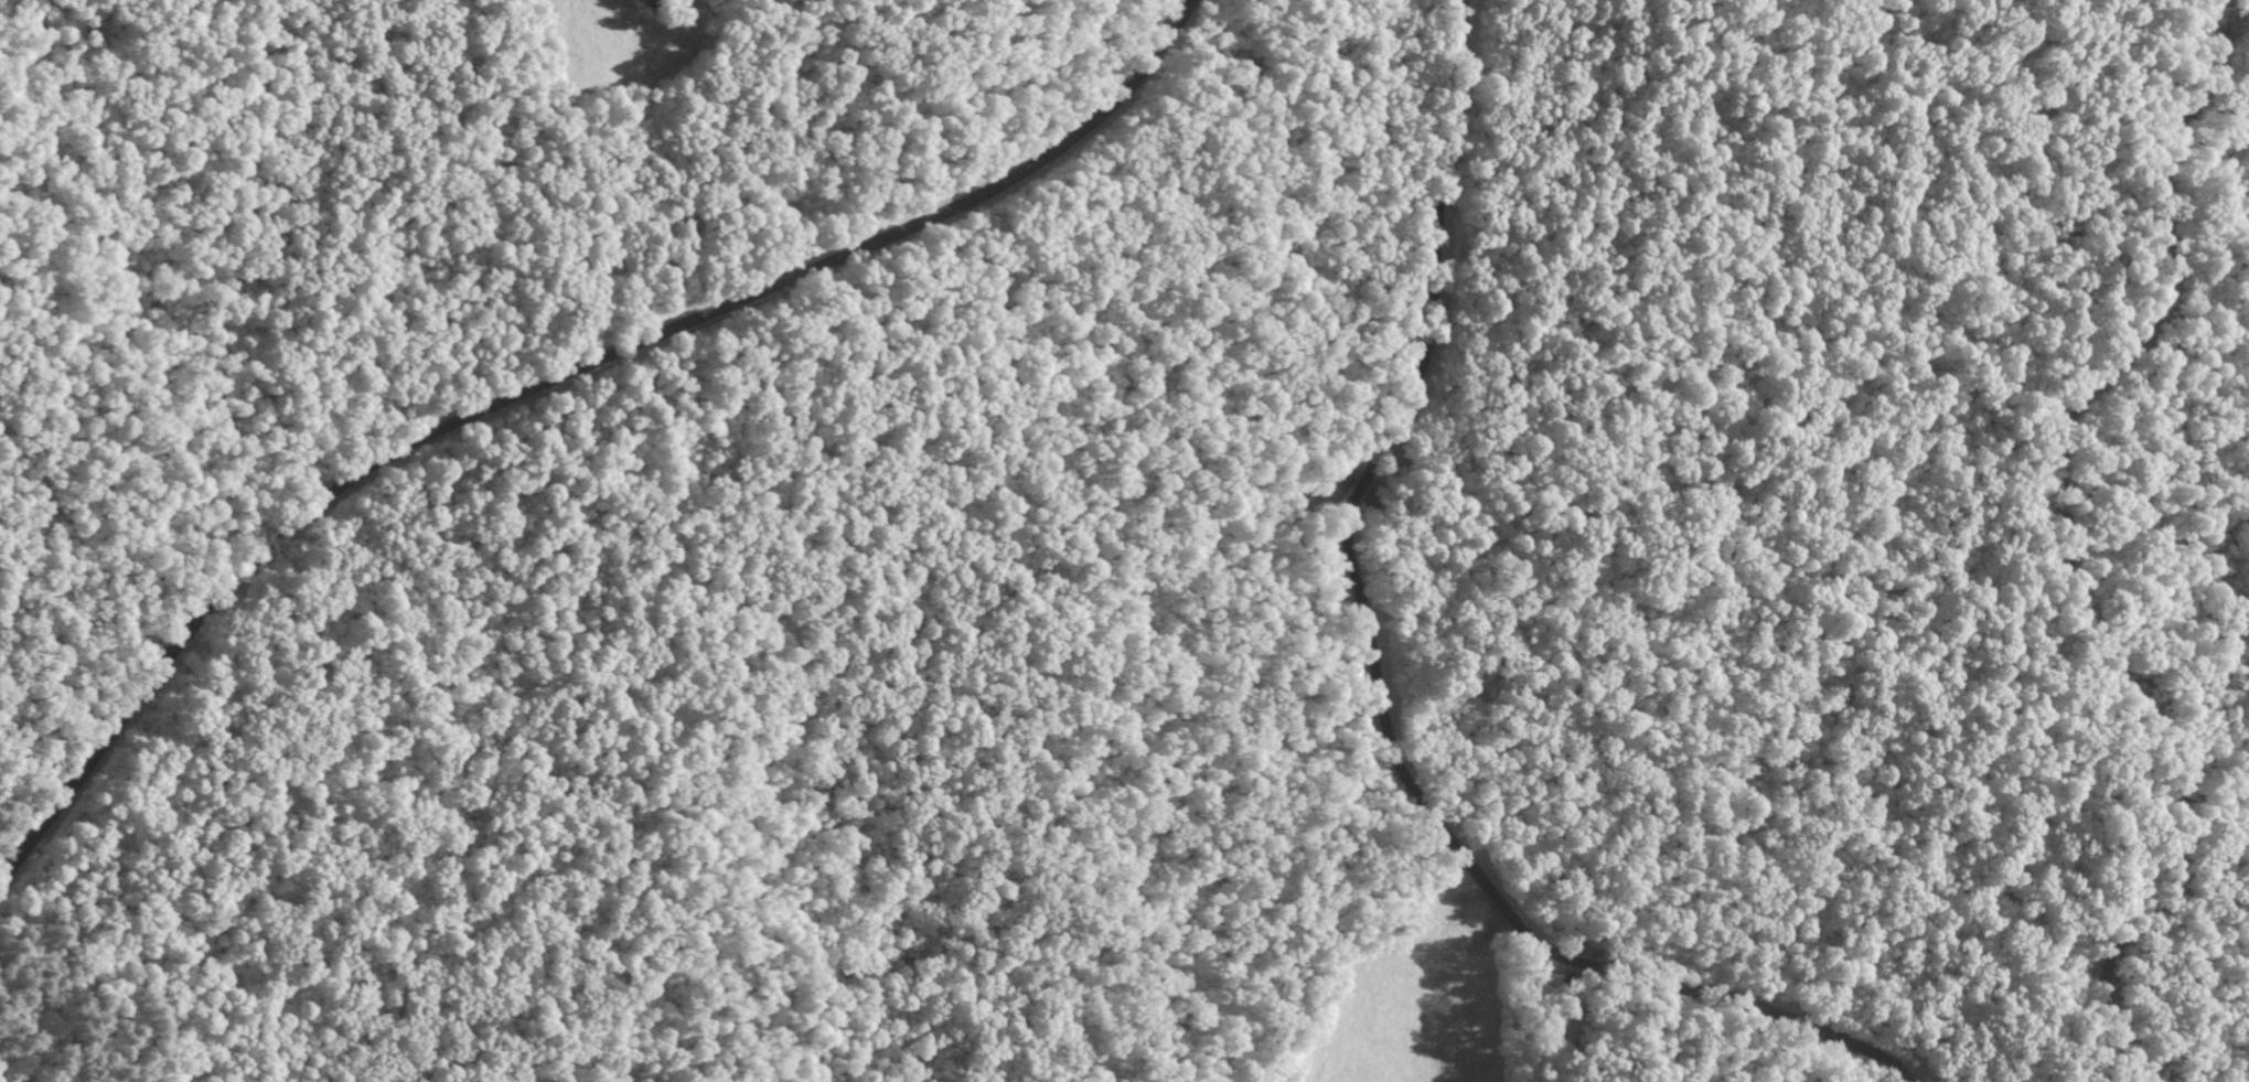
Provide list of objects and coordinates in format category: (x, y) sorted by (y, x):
road: (548, 382)
road: (2068, 550)
road: (1373, 688)

